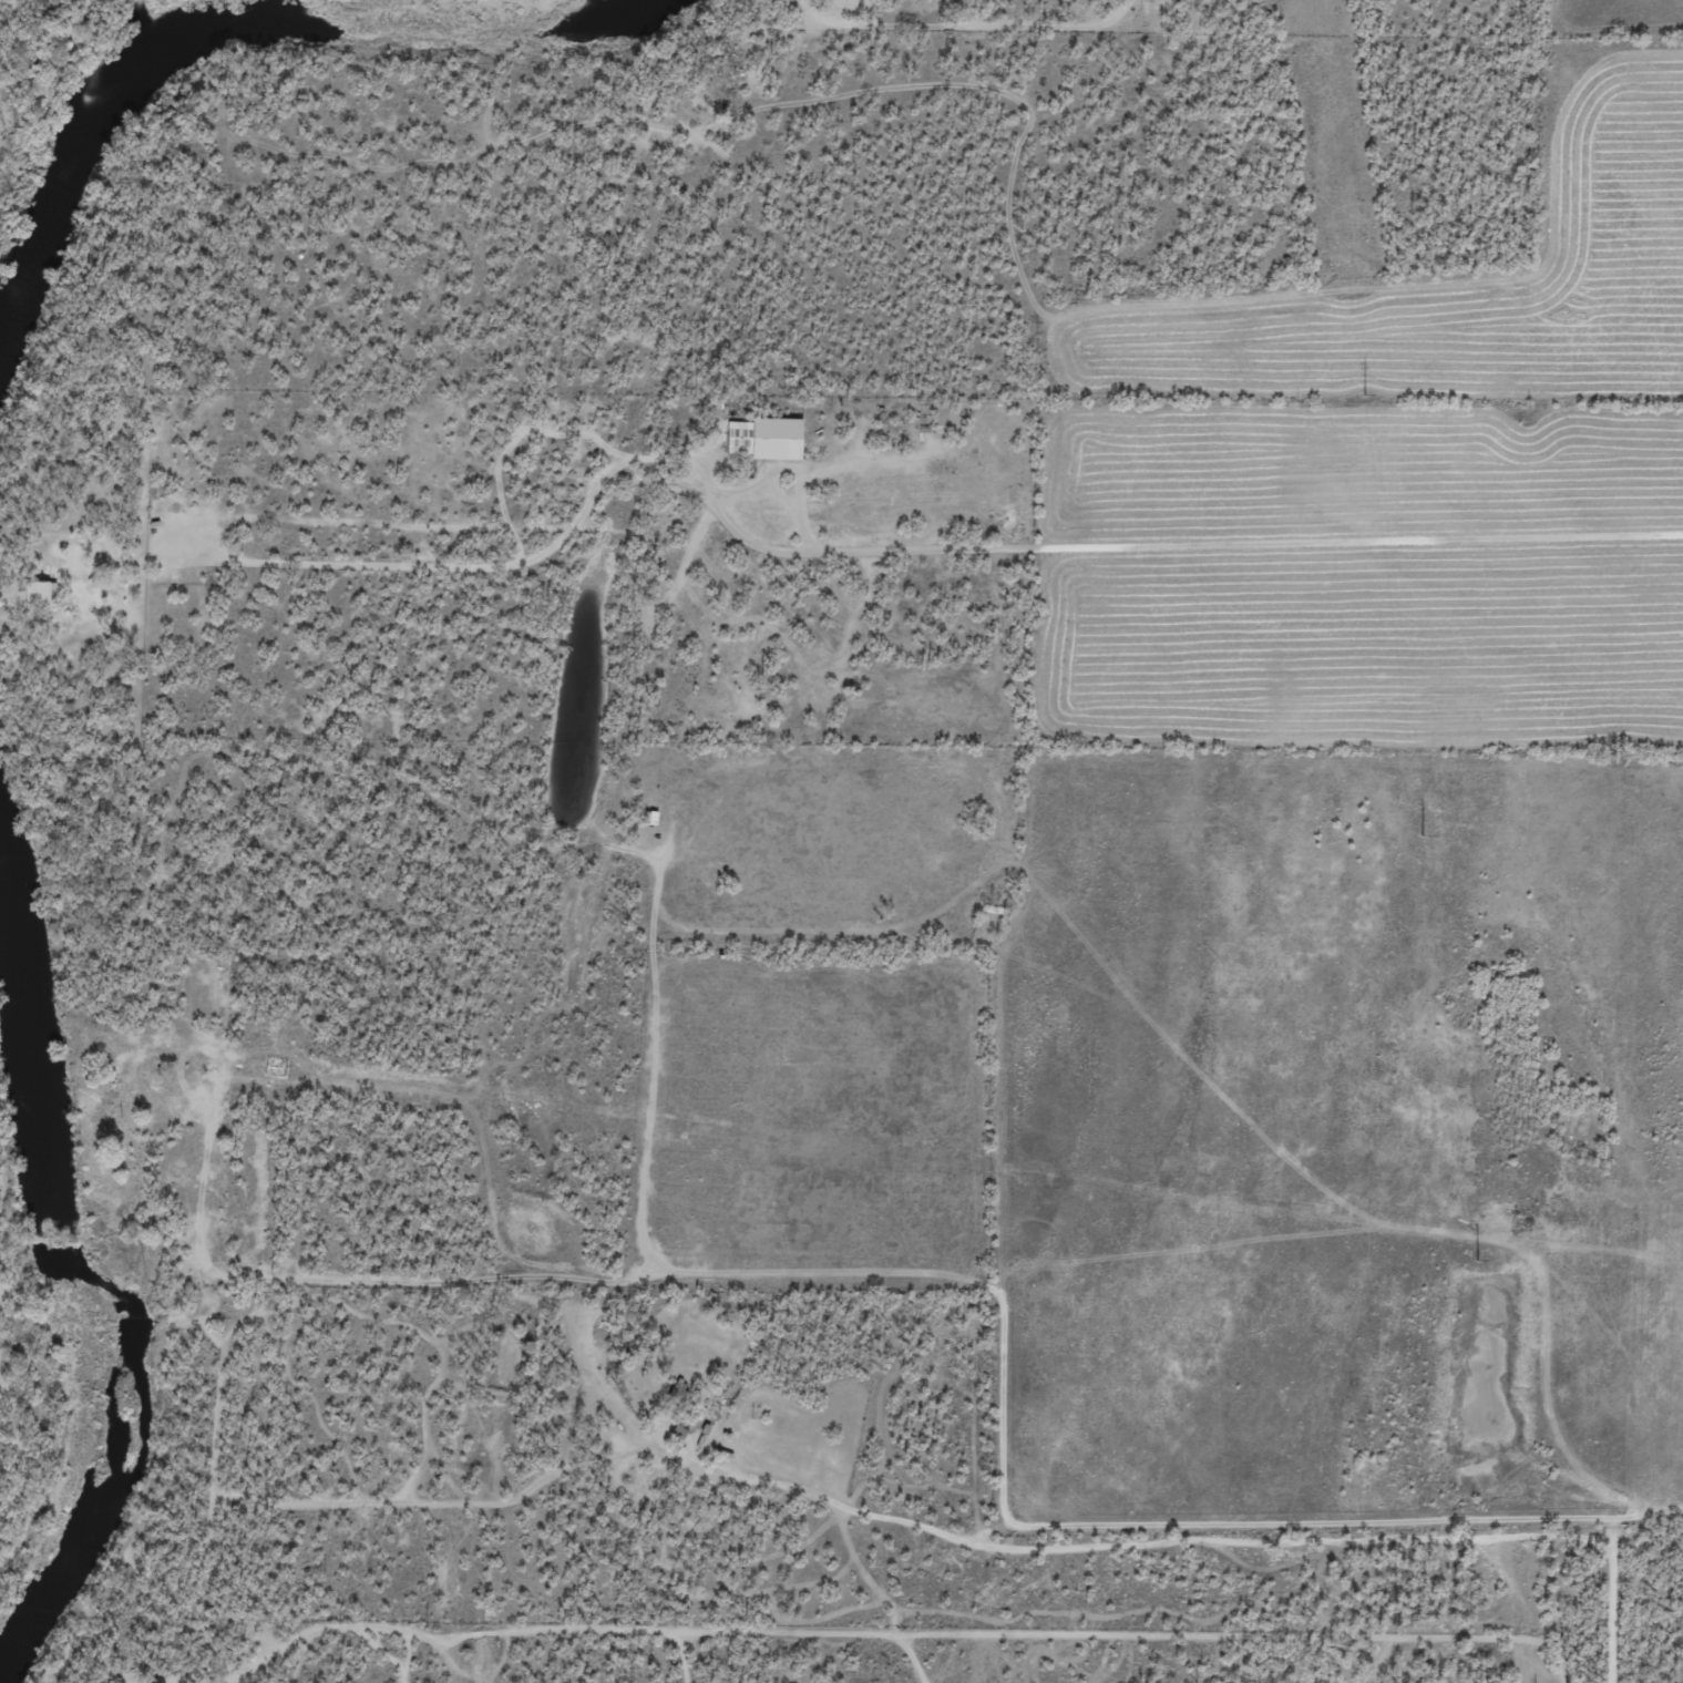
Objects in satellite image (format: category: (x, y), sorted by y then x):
road: (1530, 306)
power tower: (1365, 394)
building: (769, 439)
building: (48, 593)
power tower: (1423, 835)
power tower: (1477, 1260)
road: (950, 1347)
building: (683, 1431)
road: (1572, 1611)

